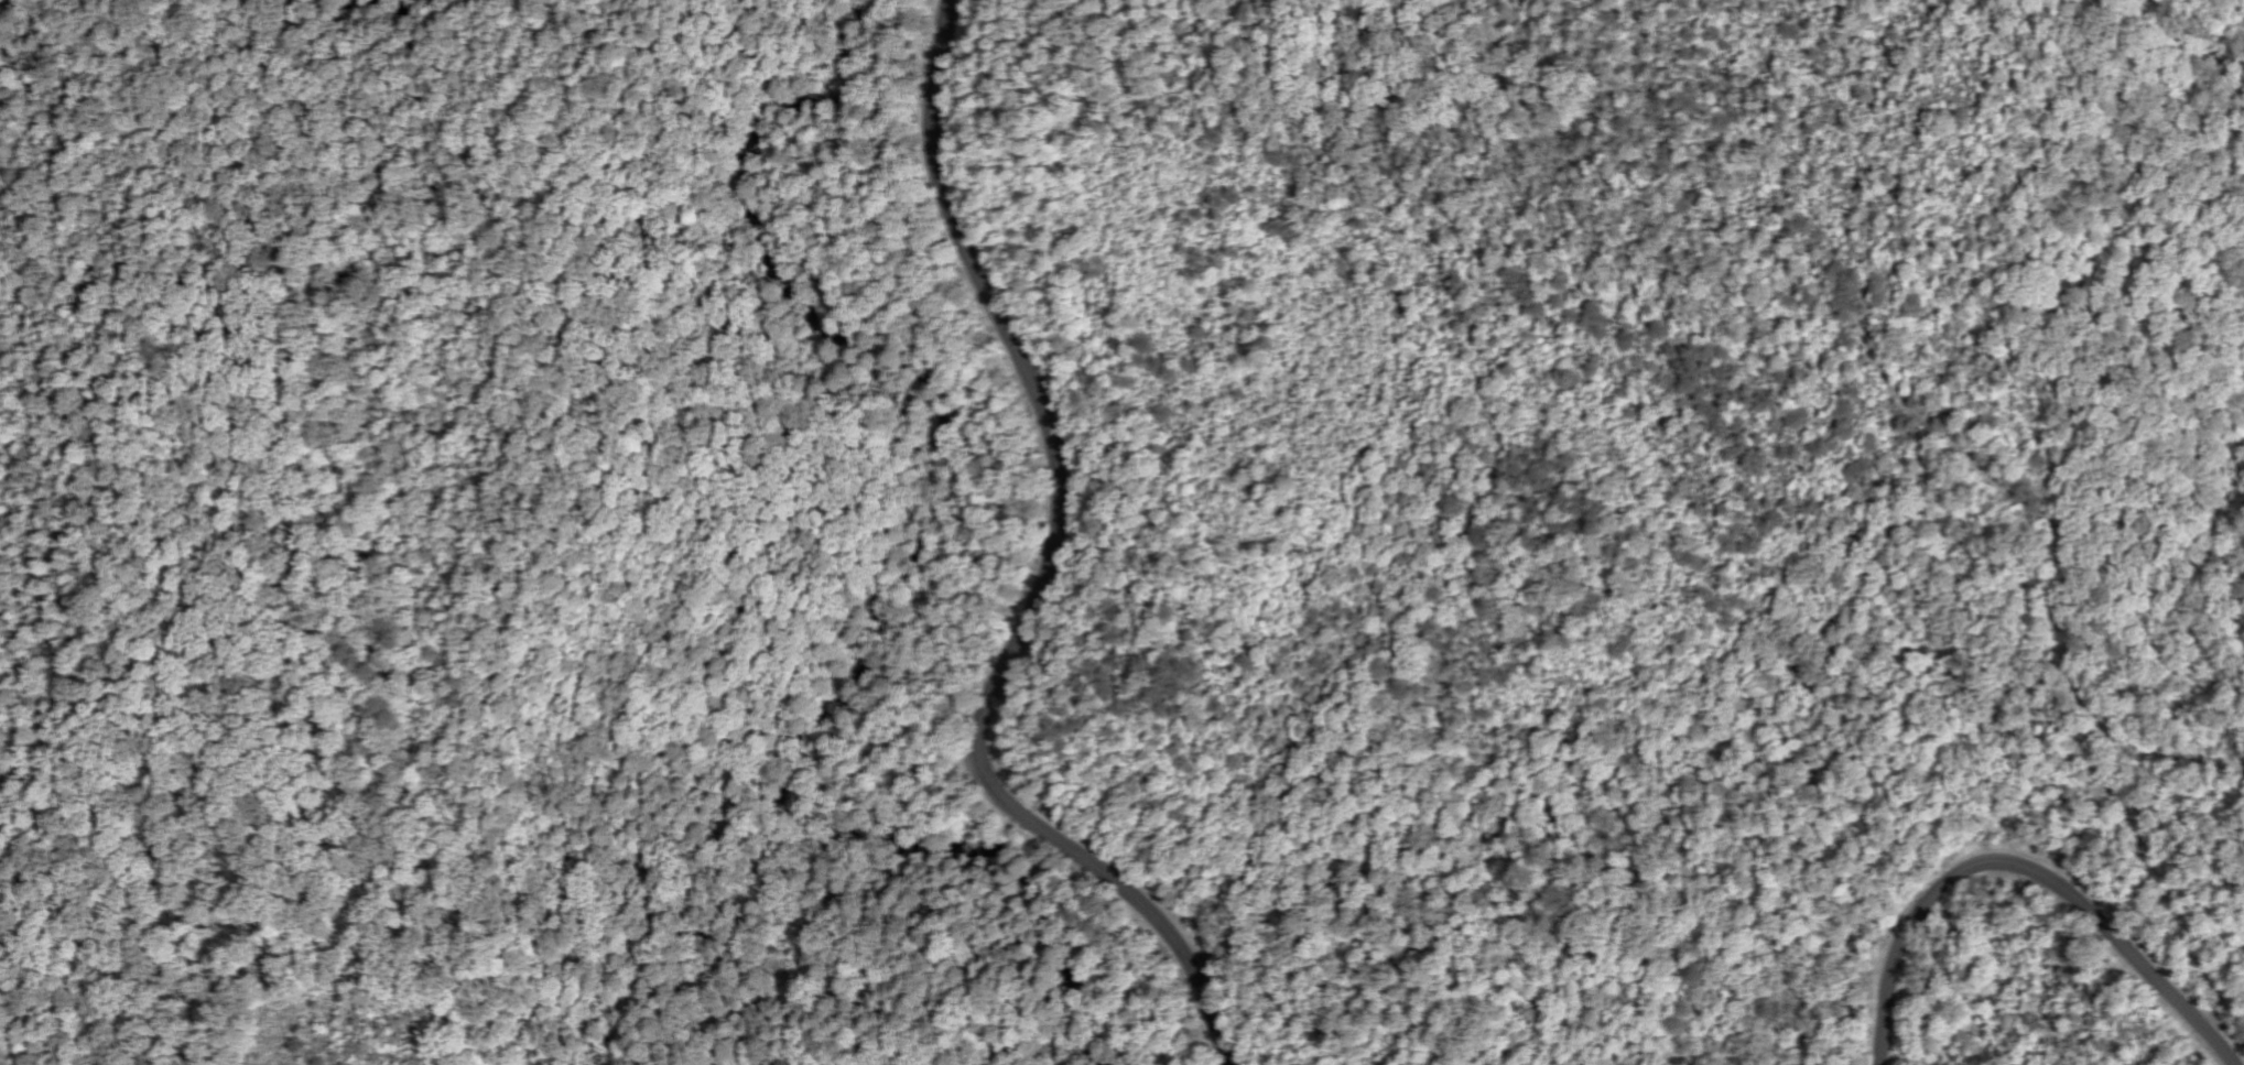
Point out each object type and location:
road: (1050, 575)
road: (2029, 870)

